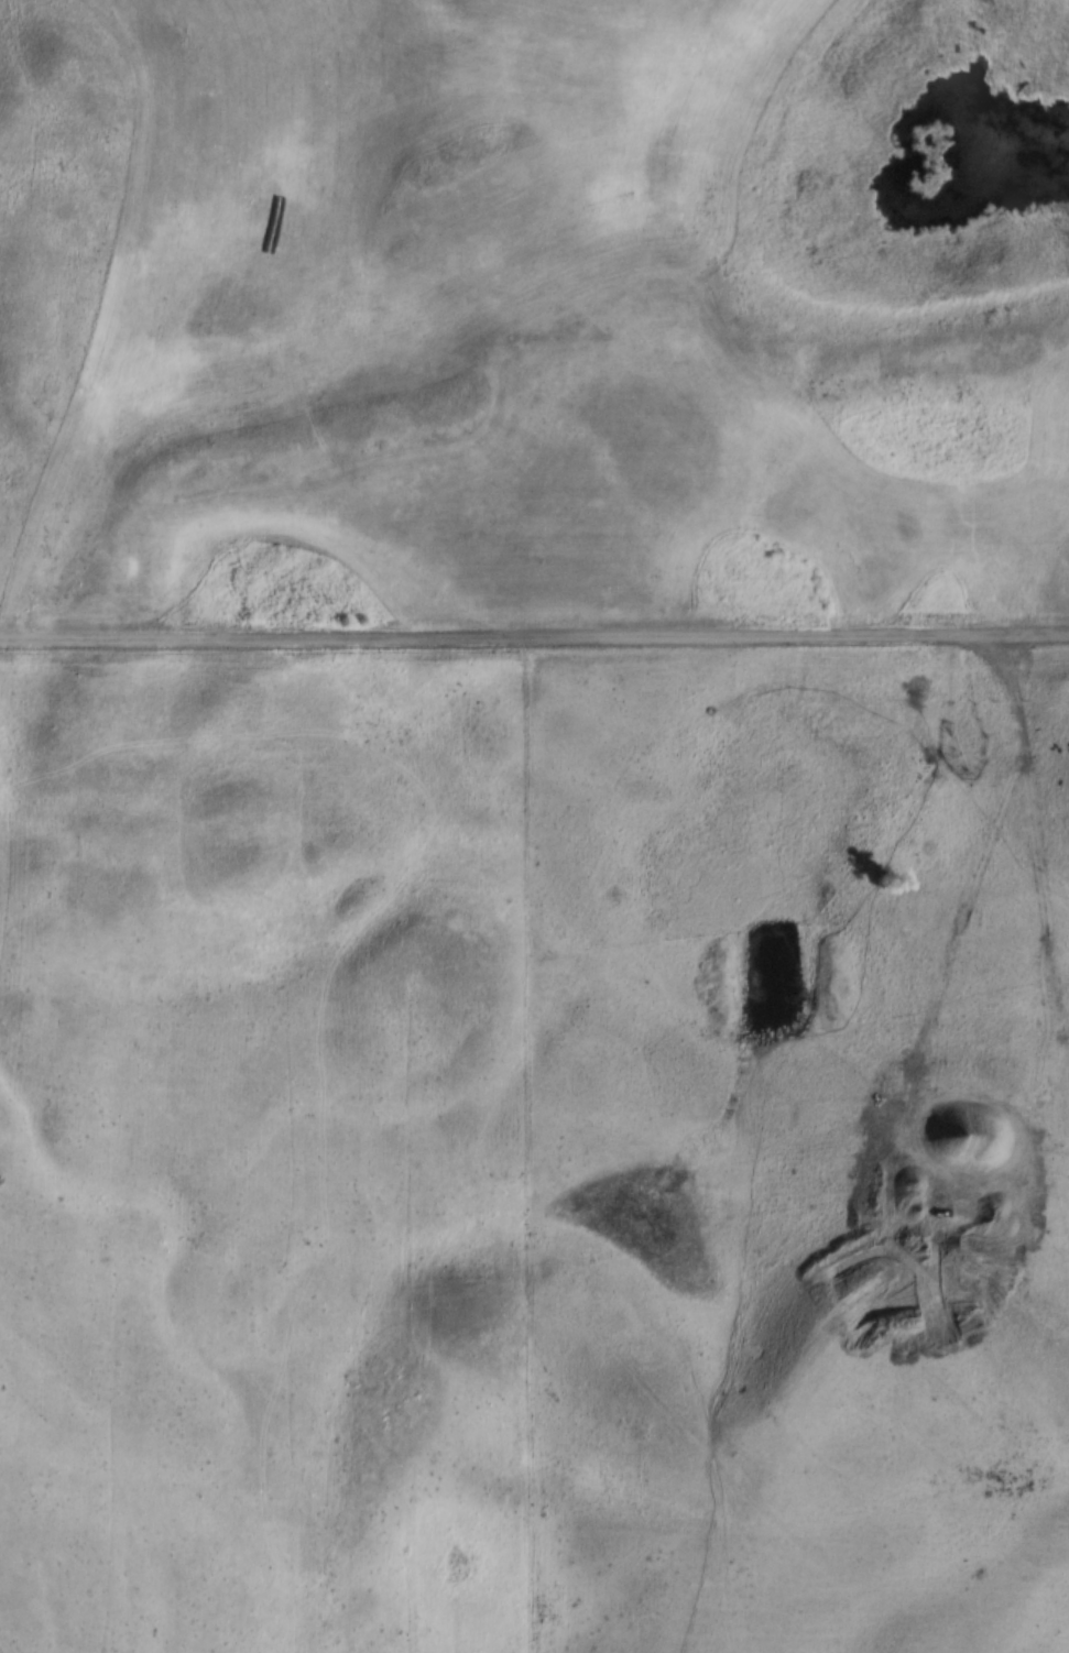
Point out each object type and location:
road: (534, 637)

